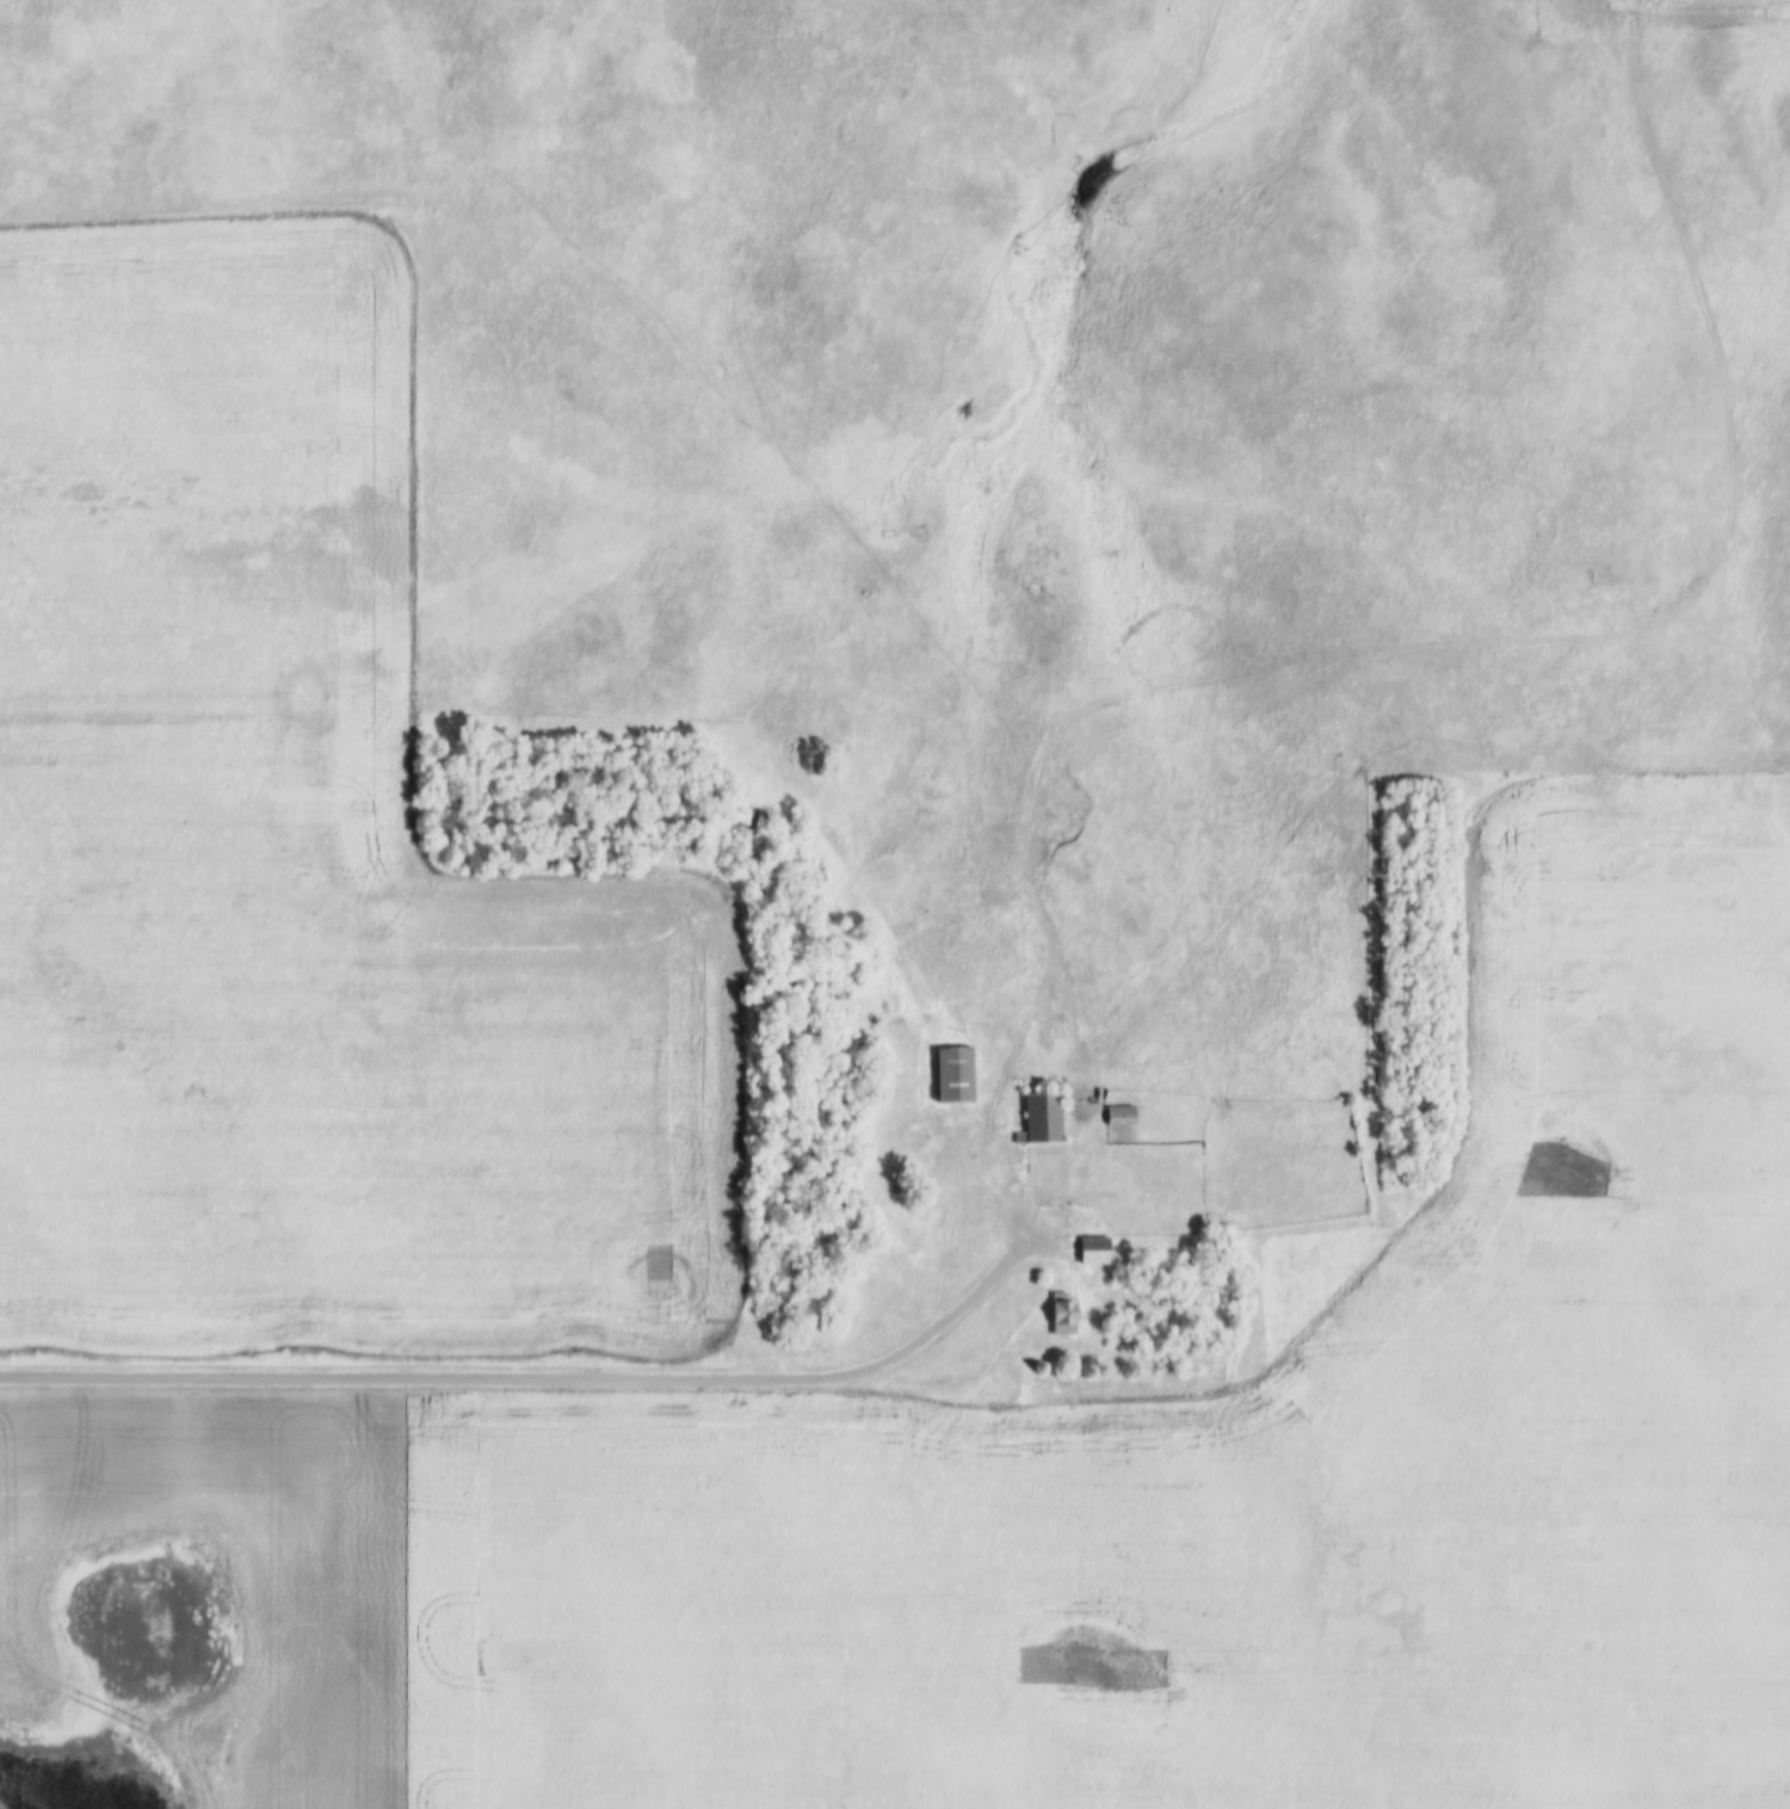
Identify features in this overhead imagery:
building: (952, 1073)
building: (1119, 1115)
building: (1039, 1118)
building: (1092, 1249)
building: (1306, 1289)
building: (1062, 1314)
road: (537, 1378)

